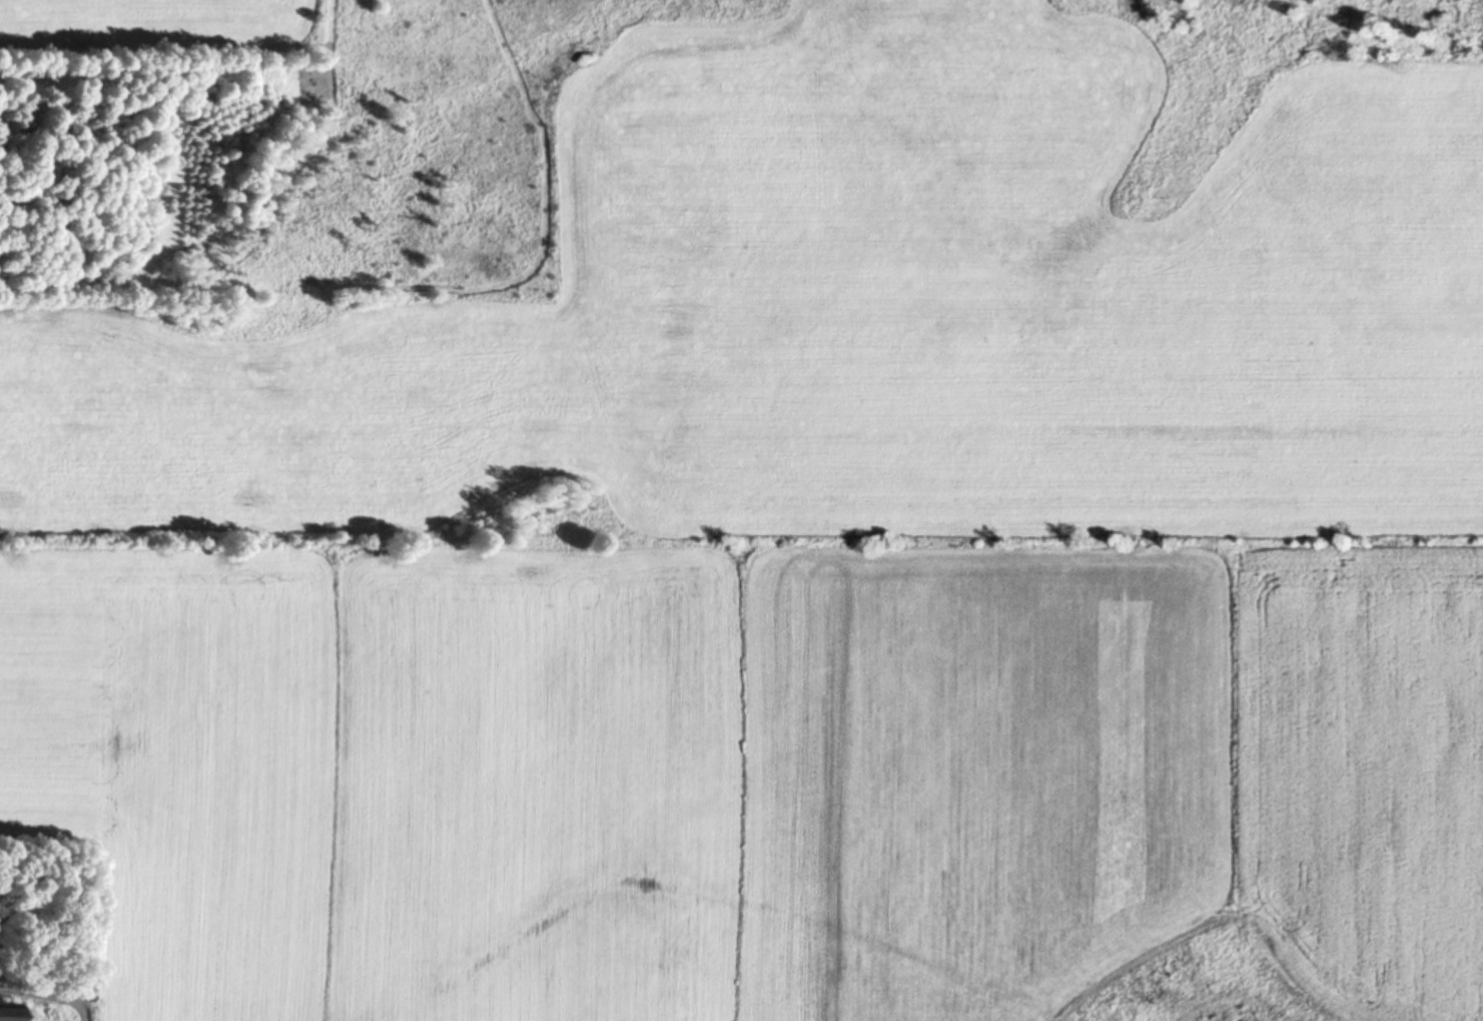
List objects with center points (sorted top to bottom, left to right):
building: (8, 1011)

